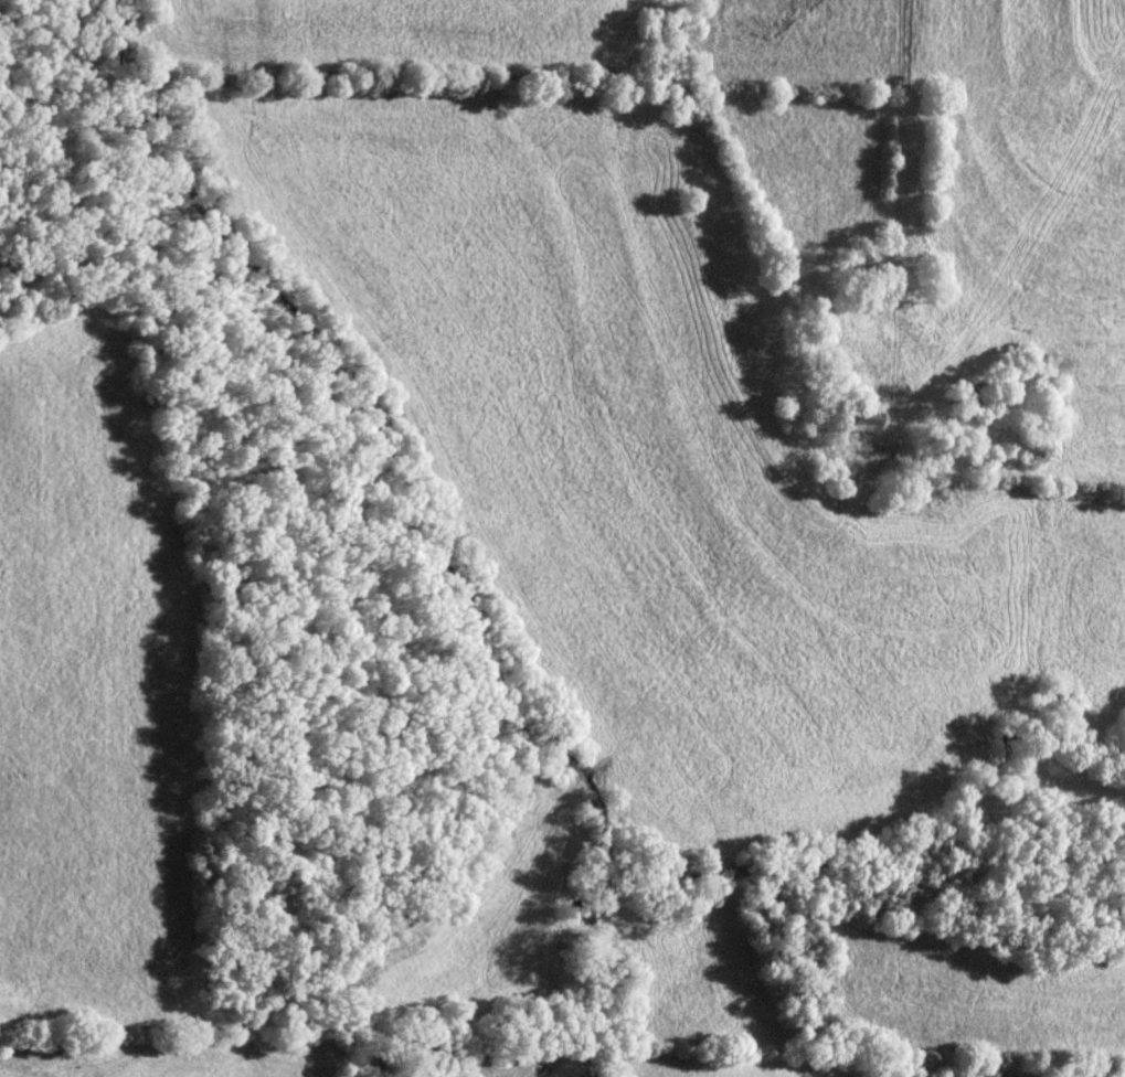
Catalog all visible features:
building: (860, 418)

